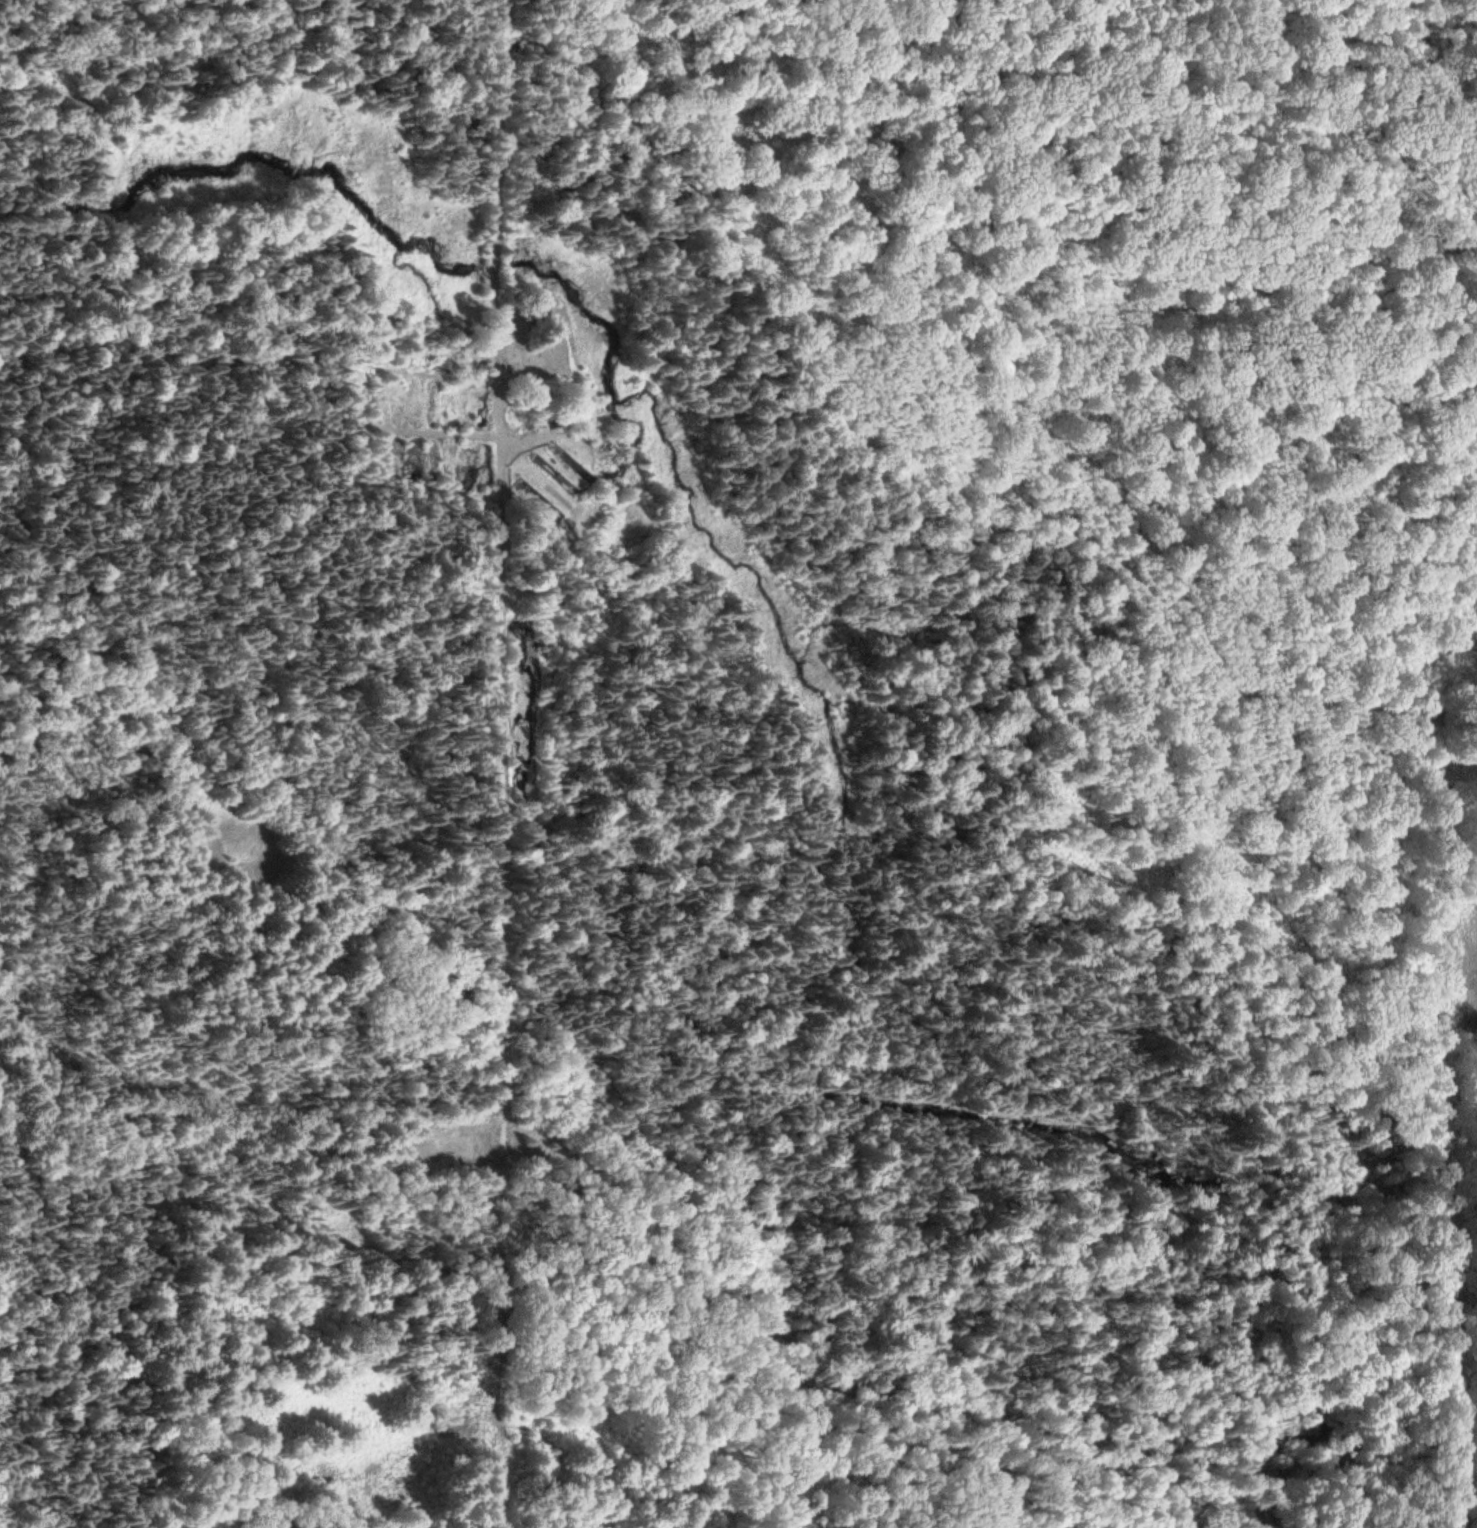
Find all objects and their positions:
building: (542, 309)
building: (558, 418)
road: (508, 695)

